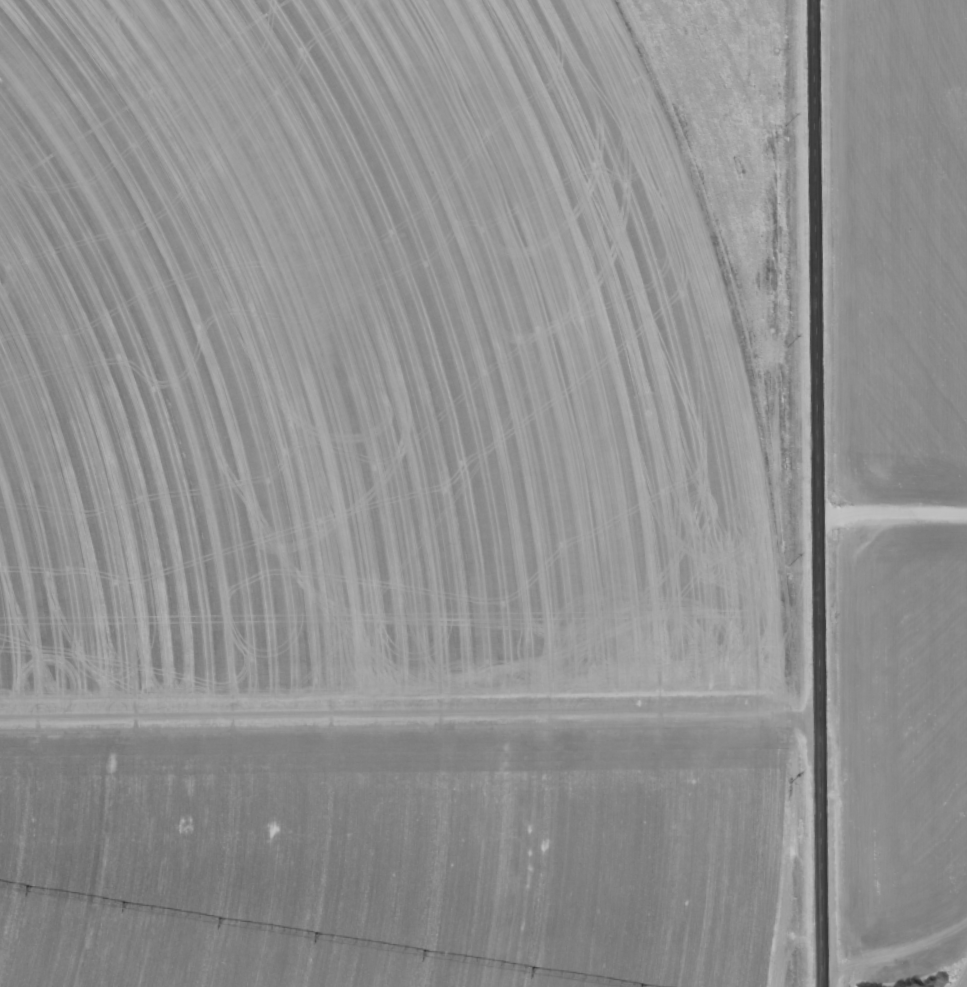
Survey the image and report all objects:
road: (817, 493)
road: (7, 986)

